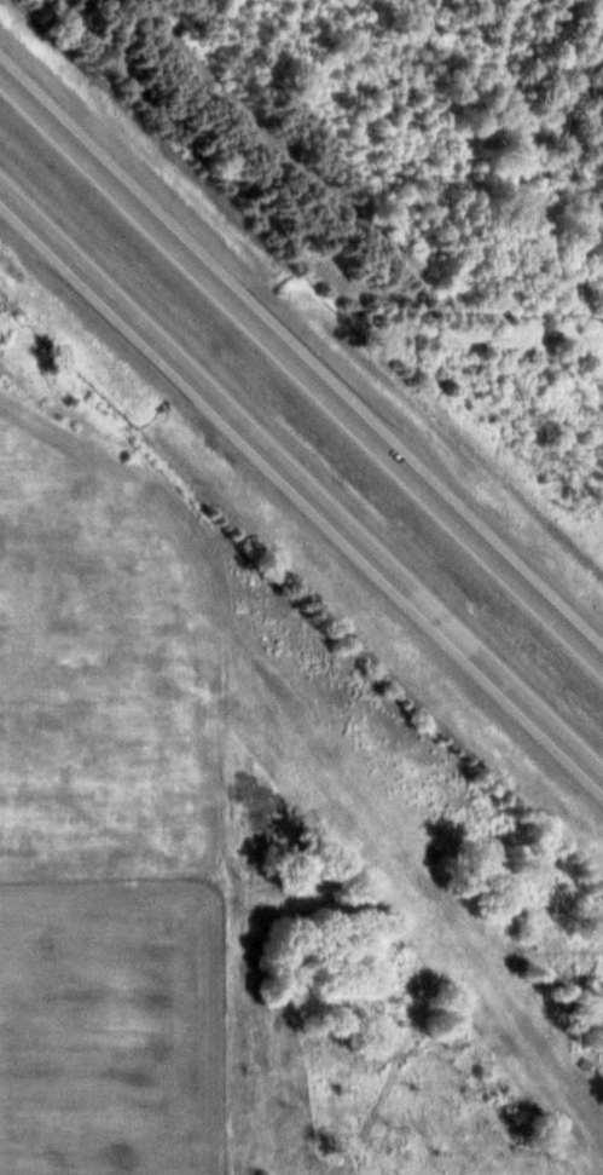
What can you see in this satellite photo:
road: (301, 368)
road: (301, 480)

